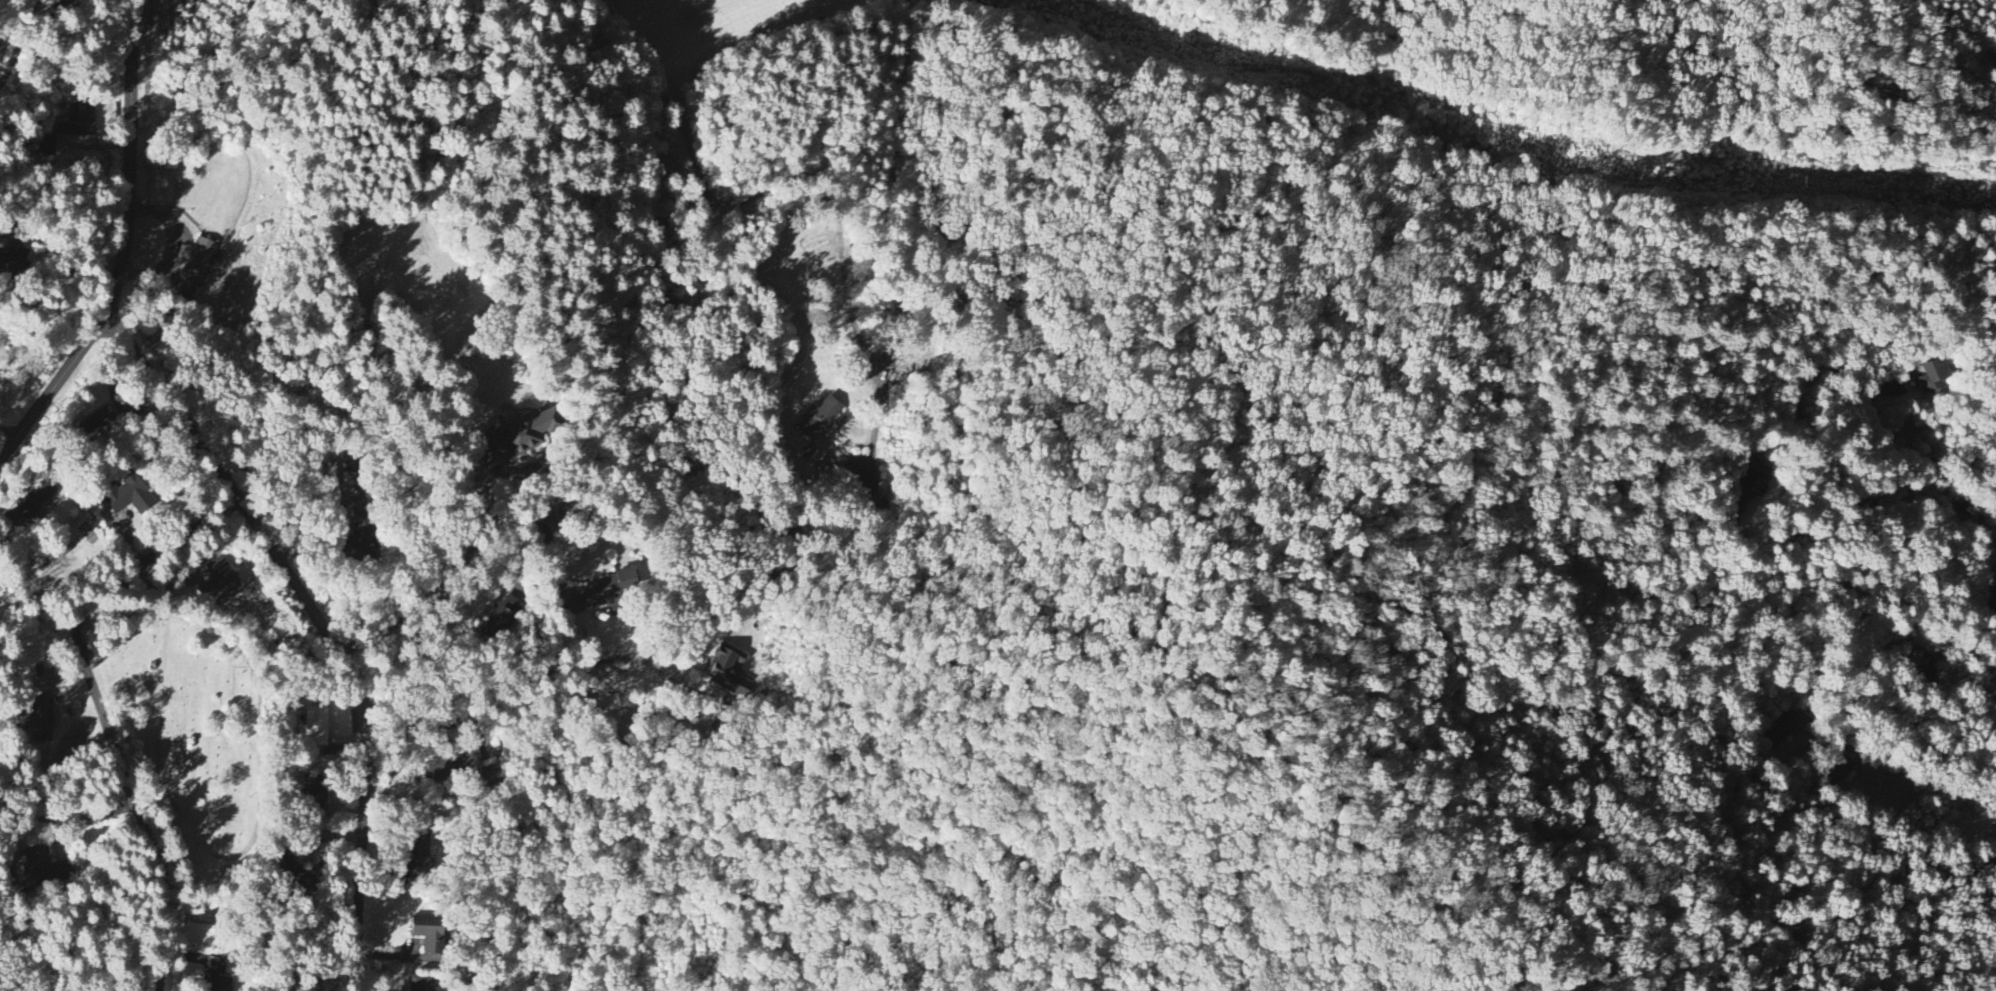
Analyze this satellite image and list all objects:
road: (25, 62)
building: (79, 122)
building: (47, 145)
power tower: (1642, 173)
road: (2, 233)
road: (173, 247)
road: (125, 249)
building: (199, 259)
building: (14, 262)
building: (1932, 378)
building: (819, 419)
building: (98, 422)
road: (10, 430)
building: (519, 438)
road: (1815, 451)
road: (1913, 455)
building: (127, 494)
building: (38, 499)
road: (324, 531)
road: (1982, 538)
building: (361, 540)
road: (456, 564)
building: (219, 580)
building: (610, 590)
building: (503, 617)
road: (322, 626)
road: (665, 645)
building: (727, 672)
road: (97, 704)
building: (39, 722)
building: (315, 729)
building: (1777, 729)
park: (196, 738)
building: (454, 769)
road: (61, 815)
building: (419, 858)
building: (45, 869)
building: (428, 933)
building: (216, 984)
building: (422, 984)

